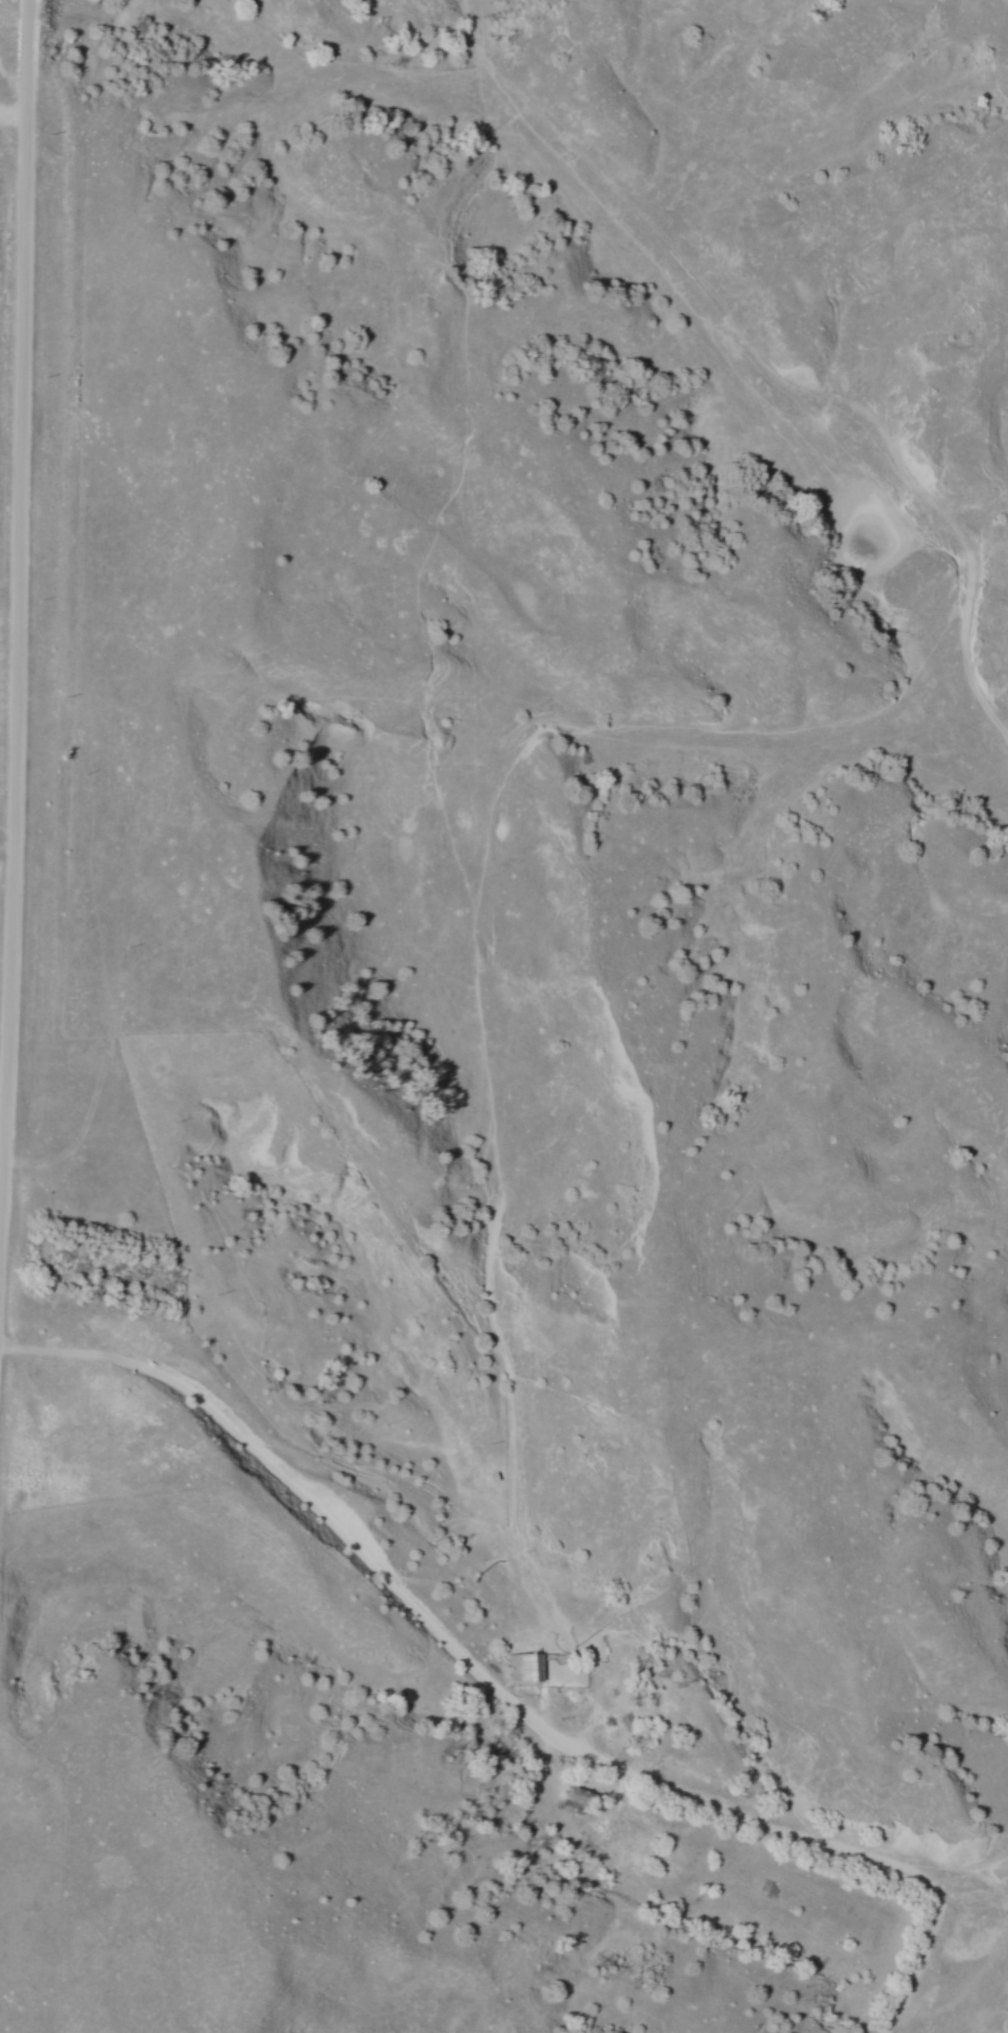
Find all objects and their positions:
road: (16, 625)
road: (318, 1507)
building: (524, 1669)
building: (630, 1723)
building: (573, 1799)

